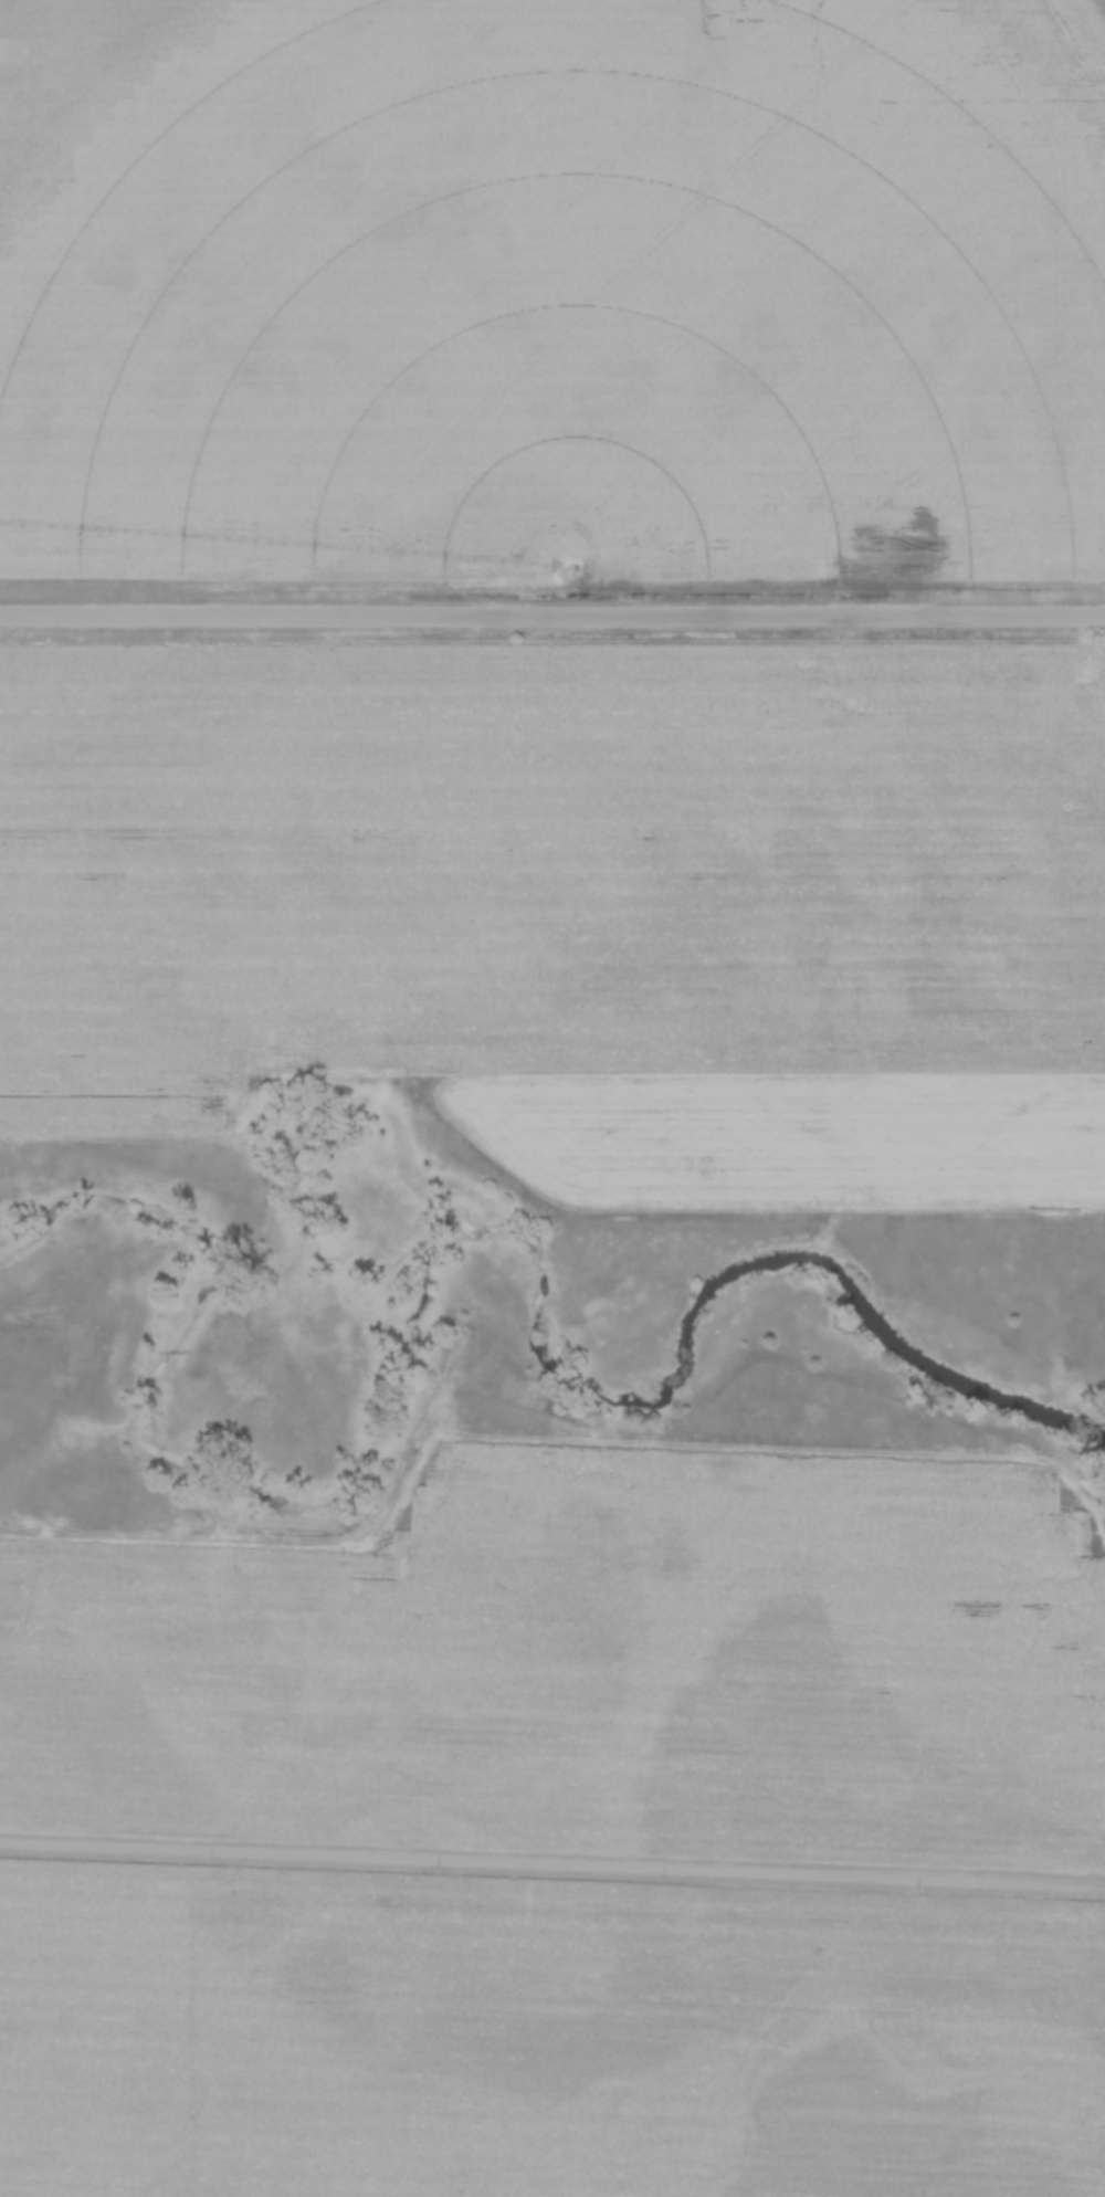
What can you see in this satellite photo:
road: (552, 616)
road: (552, 1867)

